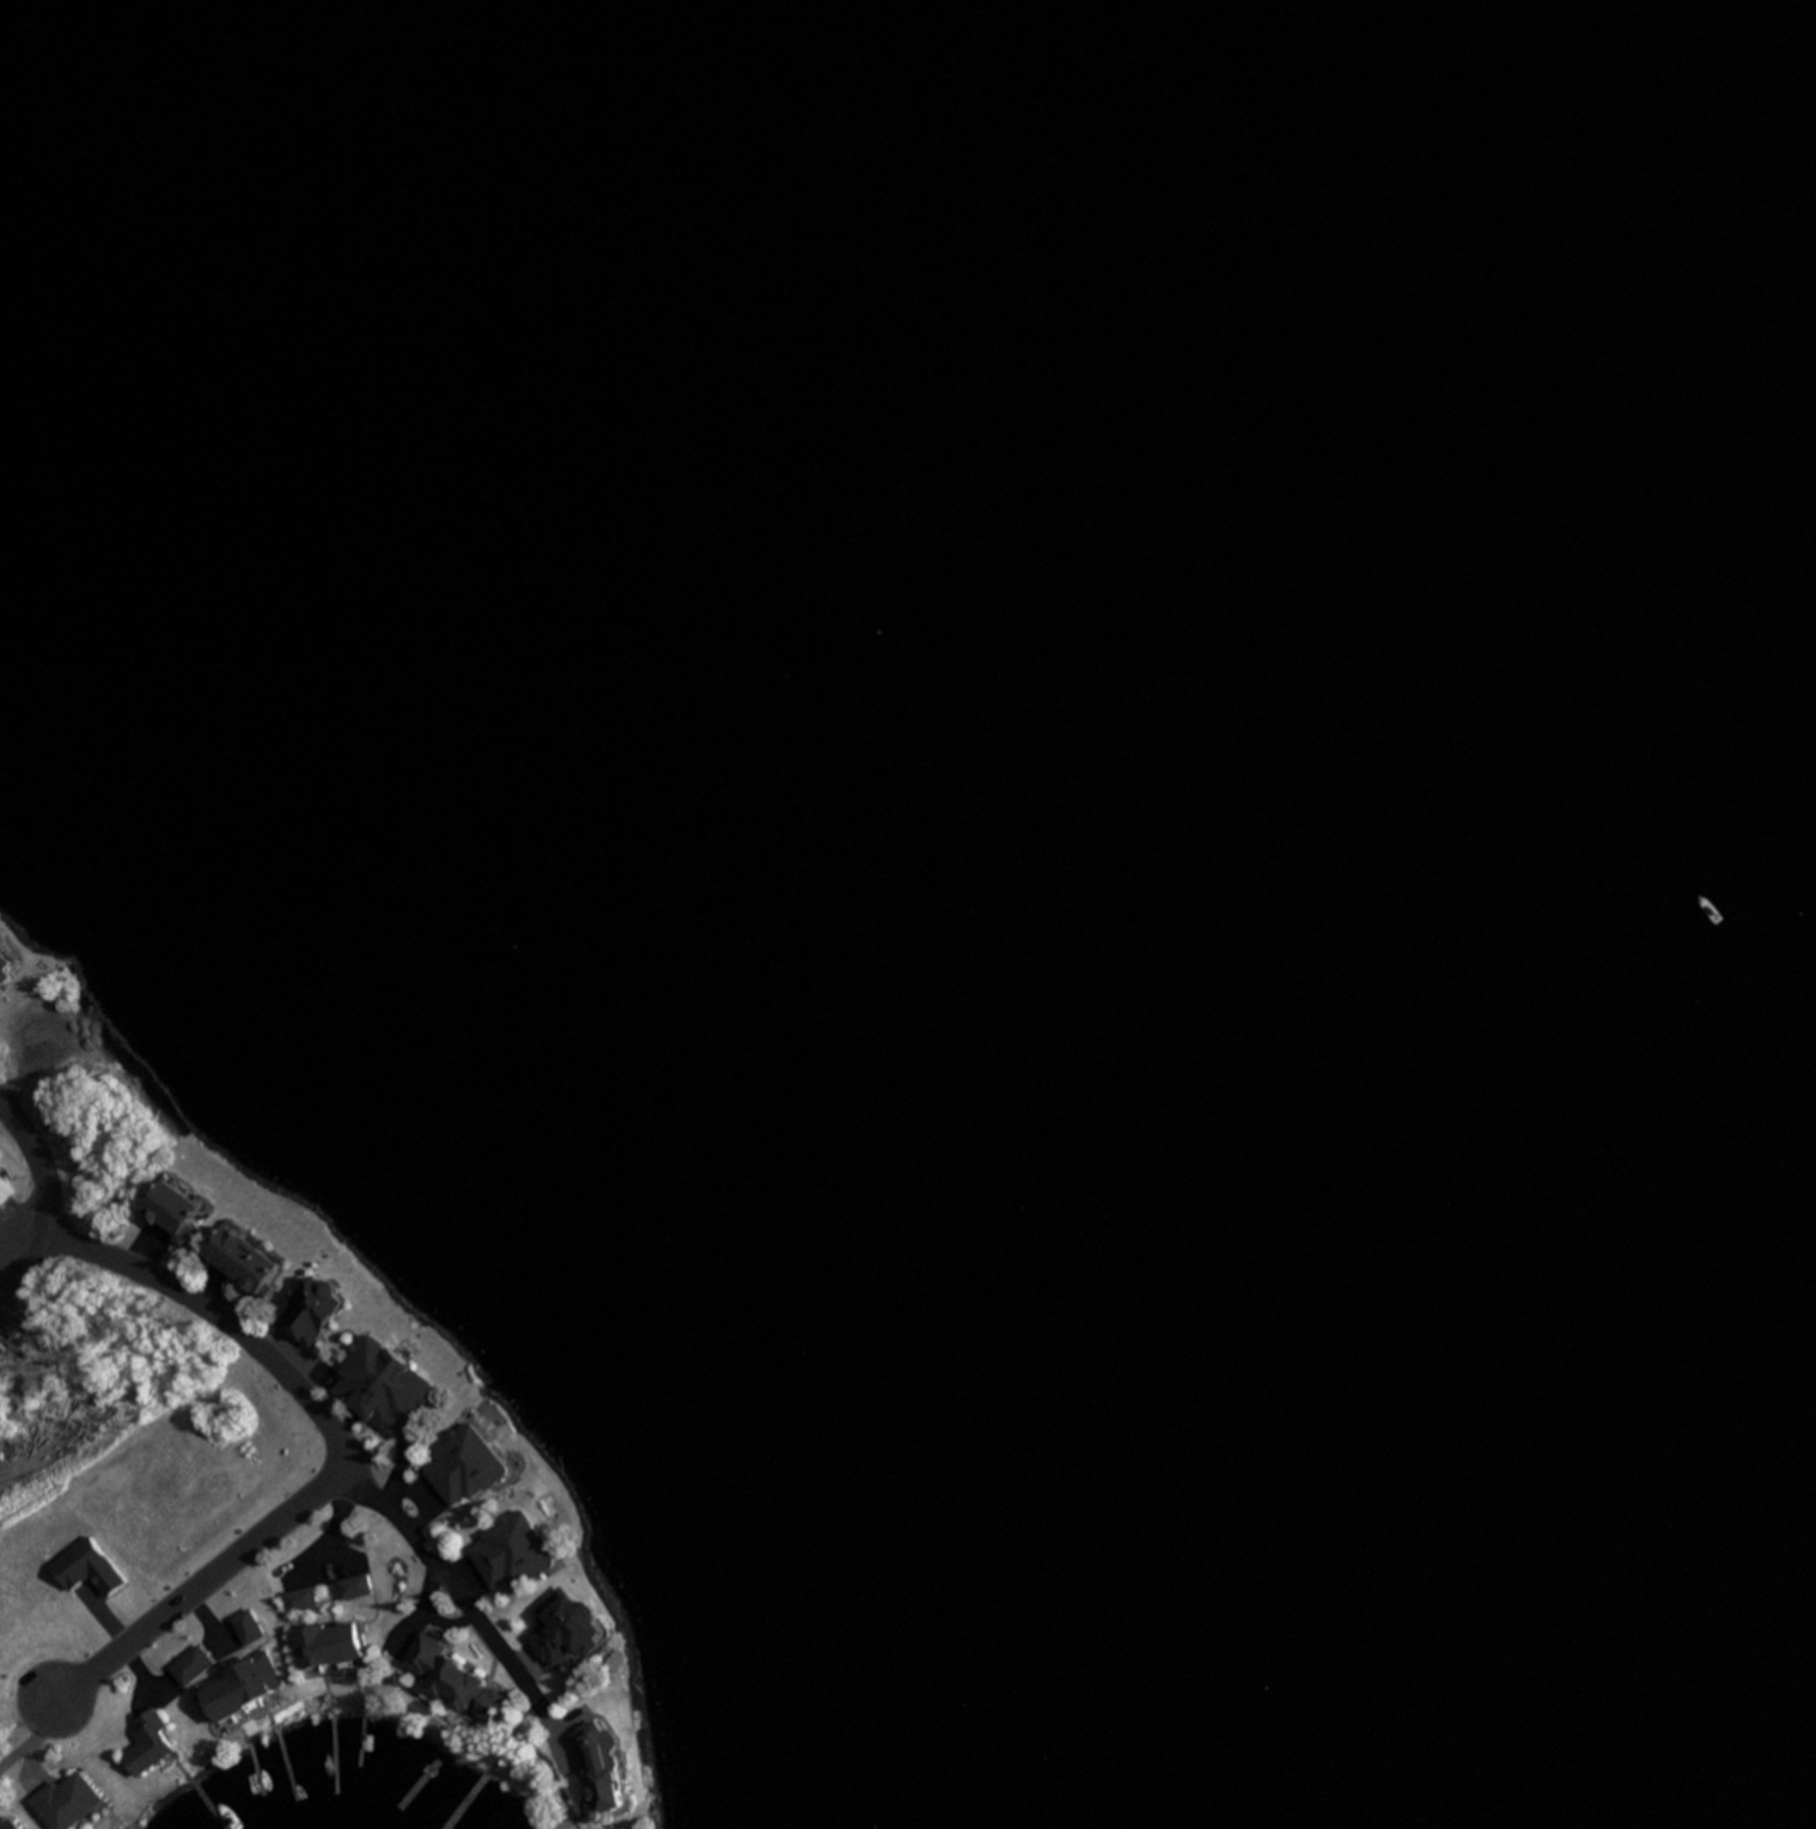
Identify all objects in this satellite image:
road: (42, 1162)
building: (1, 1194)
building: (154, 1200)
building: (175, 1219)
park: (56, 1225)
parking lot: (13, 1232)
building: (217, 1244)
road: (147, 1246)
building: (234, 1258)
road: (24, 1268)
building: (254, 1273)
road: (196, 1278)
road: (215, 1291)
road: (234, 1306)
building: (307, 1309)
road: (286, 1351)
building: (358, 1362)
building: (376, 1383)
road: (319, 1384)
building: (400, 1398)
road: (348, 1423)
building: (453, 1452)
road: (351, 1455)
road: (402, 1470)
building: (471, 1475)
road: (407, 1492)
road: (427, 1513)
road: (341, 1517)
building: (502, 1537)
building: (516, 1563)
road: (323, 1567)
road: (459, 1581)
building: (362, 1585)
building: (347, 1589)
building: (310, 1597)
building: (294, 1601)
road: (433, 1612)
road: (209, 1617)
building: (245, 1620)
building: (559, 1626)
road: (413, 1627)
building: (251, 1633)
building: (347, 1640)
road: (221, 1642)
building: (315, 1644)
building: (330, 1644)
building: (299, 1646)
building: (197, 1658)
road: (528, 1665)
building: (183, 1670)
building: (262, 1671)
road: (148, 1676)
building: (449, 1677)
building: (240, 1682)
road: (145, 1690)
building: (227, 1694)
building: (211, 1703)
road: (568, 1719)
road: (29, 1738)
road: (508, 1738)
road: (560, 1739)
building: (146, 1742)
road: (35, 1745)
building: (590, 1768)
building: (56, 1799)
pier: (468, 1805)
building: (1, 1825)

